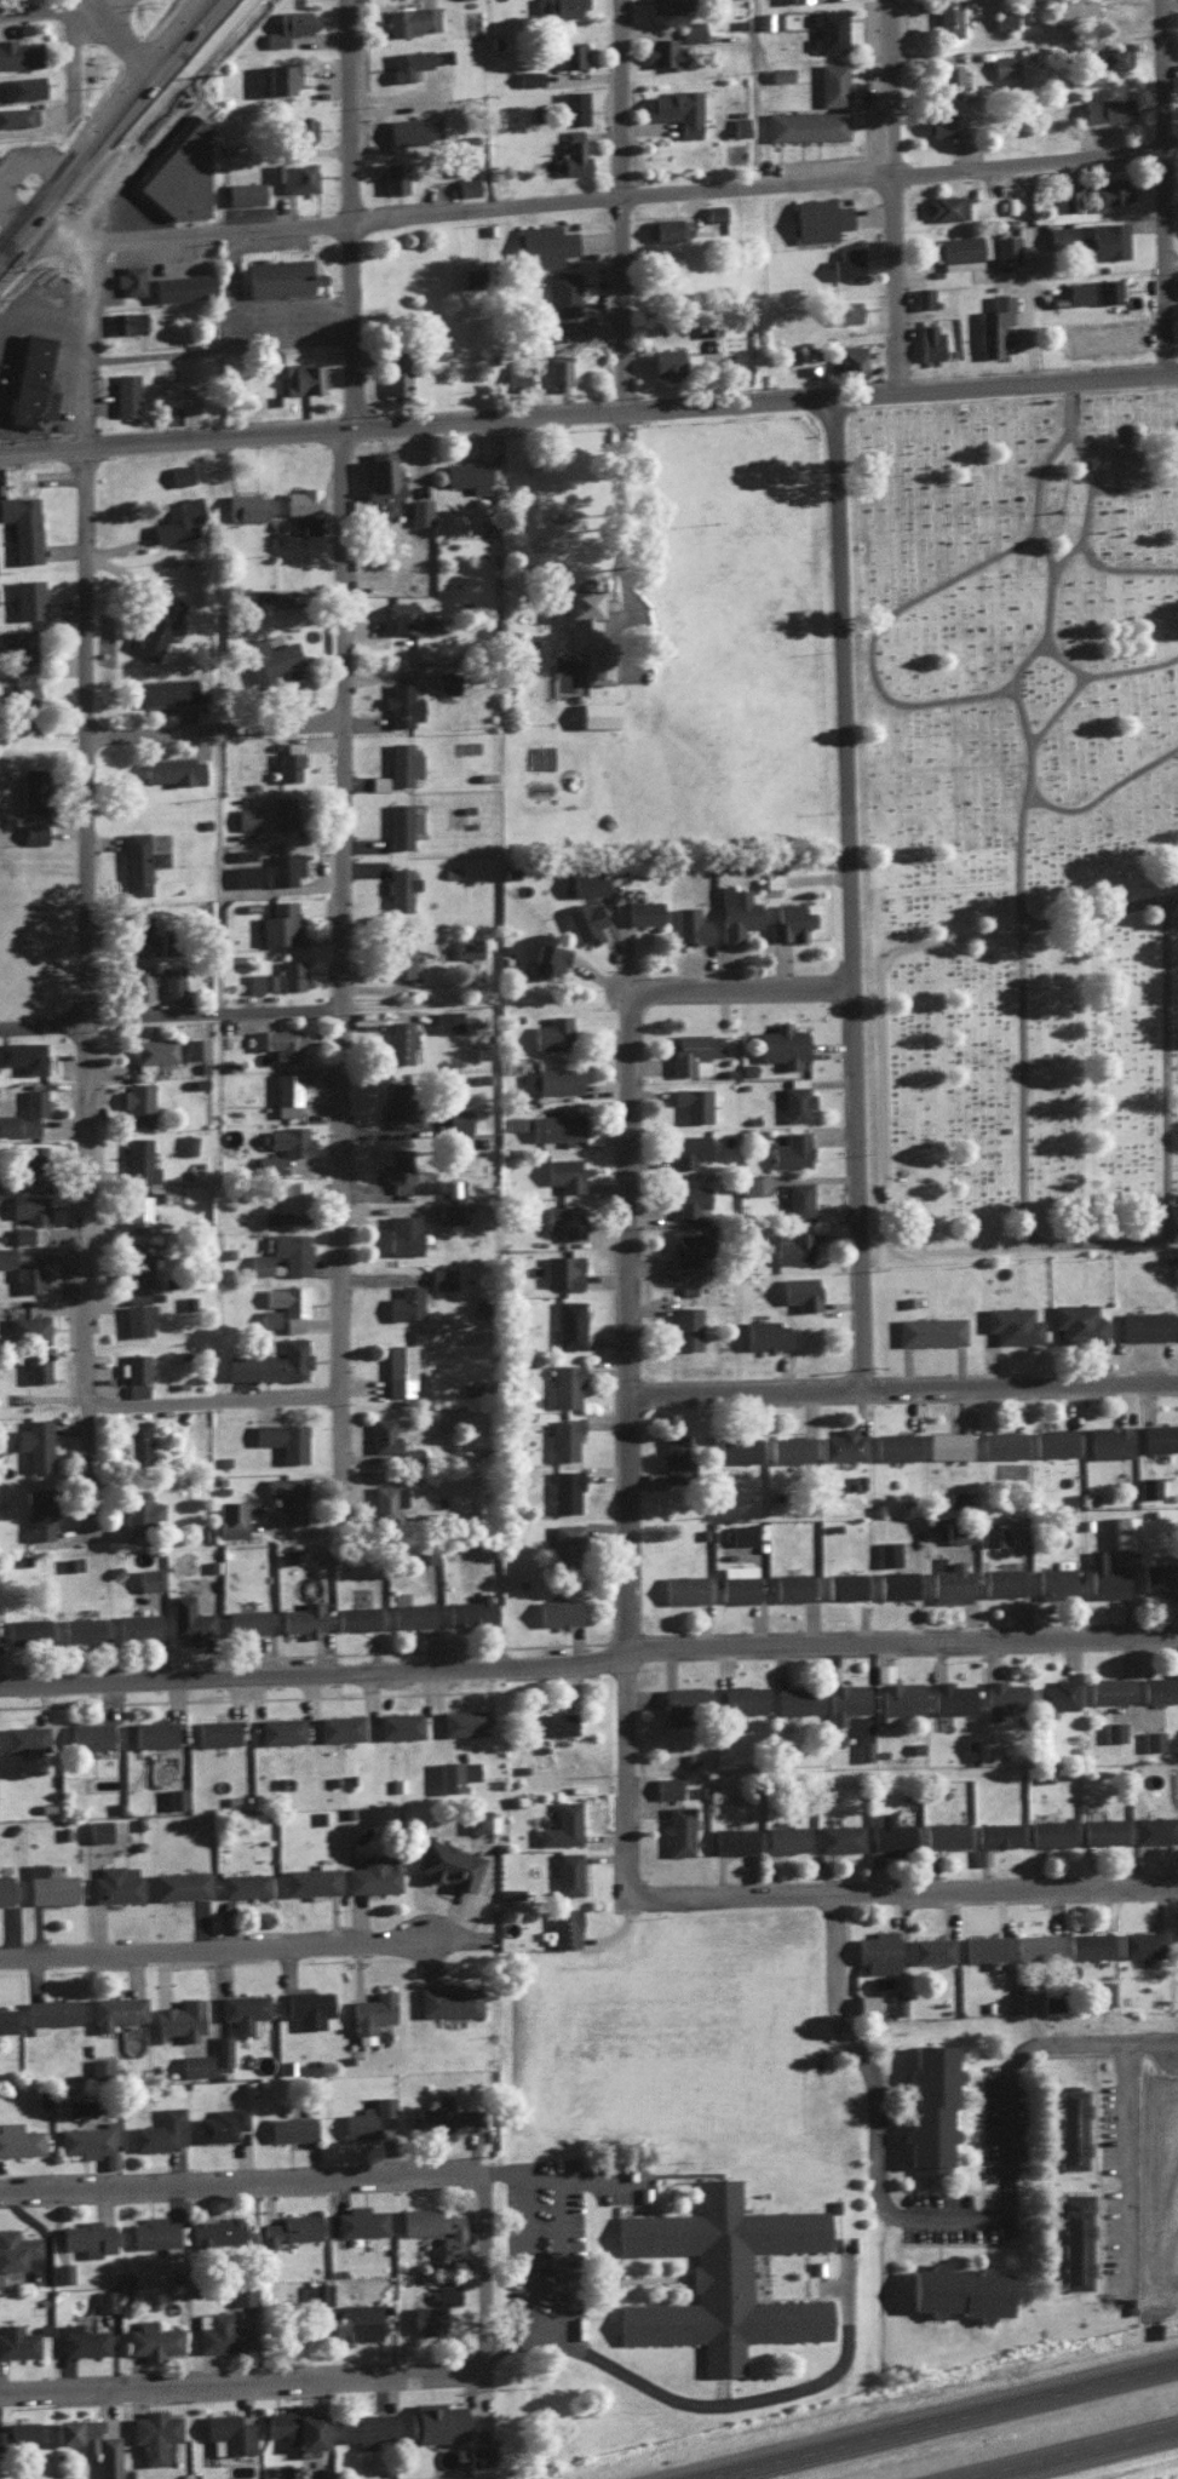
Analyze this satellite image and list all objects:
road: (75, 5)
building: (661, 5)
building: (557, 7)
building: (1071, 8)
road: (38, 11)
road: (107, 11)
building: (1002, 15)
building: (947, 17)
building: (410, 18)
building: (287, 22)
building: (828, 29)
road: (188, 35)
road: (116, 40)
building: (1086, 41)
building: (672, 45)
building: (18, 52)
building: (564, 54)
building: (1111, 56)
road: (82, 63)
building: (1001, 63)
building: (401, 67)
building: (778, 71)
building: (527, 76)
building: (949, 79)
building: (285, 81)
building: (831, 82)
building: (23, 85)
road: (752, 90)
building: (564, 104)
building: (1105, 108)
building: (677, 111)
building: (17, 115)
building: (737, 124)
building: (805, 124)
building: (936, 124)
building: (299, 126)
building: (409, 128)
road: (45, 138)
road: (98, 143)
building: (565, 157)
building: (178, 171)
building: (407, 177)
building: (301, 182)
building: (466, 184)
road: (1160, 189)
building: (242, 191)
building: (1092, 191)
road: (602, 193)
road: (890, 195)
road: (619, 205)
building: (943, 206)
building: (713, 211)
building: (822, 216)
building: (665, 226)
road: (19, 236)
building: (1091, 239)
building: (540, 243)
building: (961, 246)
building: (1005, 247)
building: (844, 260)
road: (1168, 262)
road: (908, 270)
building: (277, 272)
building: (469, 275)
building: (1177, 275)
building: (128, 277)
road: (1039, 279)
road: (1017, 281)
building: (178, 283)
building: (562, 292)
building: (1094, 292)
building: (921, 295)
building: (844, 310)
building: (126, 321)
building: (992, 323)
building: (706, 327)
building: (929, 342)
road: (224, 350)
building: (850, 357)
building: (663, 360)
building: (558, 371)
building: (392, 372)
building: (515, 374)
building: (301, 378)
building: (29, 380)
building: (125, 392)
road: (588, 413)
road: (1093, 465)
building: (461, 469)
building: (179, 472)
building: (381, 475)
road: (1142, 497)
building: (247, 505)
building: (303, 505)
building: (419, 510)
building: (176, 518)
building: (21, 526)
road: (1080, 560)
road: (1104, 563)
building: (253, 593)
building: (27, 597)
building: (412, 618)
building: (156, 624)
building: (585, 633)
road: (887, 641)
building: (19, 648)
building: (266, 656)
road: (1136, 675)
building: (446, 681)
building: (165, 690)
building: (23, 692)
road: (855, 696)
road: (1086, 698)
building: (401, 702)
building: (598, 713)
road: (214, 731)
road: (341, 748)
building: (288, 761)
building: (401, 763)
building: (168, 768)
building: (378, 781)
building: (28, 788)
road: (1040, 802)
road: (1111, 804)
building: (280, 810)
building: (245, 816)
building: (401, 824)
building: (31, 831)
park: (1027, 831)
building: (241, 853)
building: (156, 857)
building: (134, 861)
building: (268, 870)
road: (217, 872)
building: (772, 878)
building: (584, 882)
building: (398, 886)
road: (84, 893)
building: (642, 909)
building: (735, 909)
building: (584, 919)
building: (789, 919)
building: (277, 920)
building: (688, 923)
building: (133, 924)
building: (461, 945)
building: (398, 956)
building: (547, 957)
building: (291, 972)
building: (136, 979)
building: (259, 980)
building: (171, 983)
road: (211, 1012)
road: (41, 1022)
building: (551, 1032)
building: (403, 1034)
building: (276, 1039)
building: (782, 1041)
building: (195, 1045)
building: (153, 1048)
building: (696, 1049)
building: (23, 1054)
building: (554, 1078)
building: (287, 1090)
building: (794, 1100)
building: (138, 1101)
building: (693, 1101)
road: (896, 1101)
building: (402, 1103)
building: (30, 1108)
building: (454, 1118)
building: (7, 1123)
building: (554, 1126)
building: (287, 1138)
building: (188, 1142)
building: (788, 1146)
building: (689, 1148)
building: (142, 1157)
building: (270, 1161)
building: (401, 1161)
building: (562, 1172)
building: (747, 1183)
road: (867, 1192)
building: (684, 1197)
building: (799, 1197)
building: (285, 1199)
building: (27, 1204)
building: (447, 1210)
building: (138, 1213)
building: (562, 1218)
building: (404, 1229)
building: (686, 1244)
building: (795, 1246)
building: (286, 1251)
building: (5, 1255)
building: (139, 1261)
building: (258, 1262)
building: (564, 1268)
building: (441, 1275)
building: (29, 1276)
building: (803, 1290)
building: (287, 1296)
building: (401, 1299)
building: (136, 1310)
building: (268, 1315)
building: (1076, 1319)
building: (568, 1320)
building: (291, 1321)
building: (1011, 1322)
building: (1144, 1322)
building: (27, 1327)
building: (686, 1327)
building: (929, 1329)
building: (759, 1335)
road: (640, 1341)
building: (269, 1359)
building: (36, 1365)
building: (136, 1368)
building: (401, 1370)
building: (562, 1382)
road: (1024, 1390)
road: (755, 1398)
road: (219, 1404)
building: (391, 1434)
building: (1159, 1435)
building: (137, 1436)
building: (567, 1436)
building: (281, 1438)
building: (1105, 1439)
building: (1052, 1440)
building: (34, 1441)
building: (841, 1442)
building: (947, 1442)
building: (1000, 1442)
building: (895, 1444)
building: (736, 1447)
building: (788, 1447)
building: (672, 1456)
building: (567, 1484)
building: (1148, 1485)
building: (287, 1494)
building: (395, 1500)
building: (140, 1508)
building: (38, 1513)
building: (229, 1516)
building: (1121, 1530)
building: (956, 1531)
building: (992, 1531)
building: (564, 1537)
building: (886, 1551)
building: (423, 1553)
building: (1103, 1574)
building: (1159, 1576)
building: (145, 1577)
building: (1001, 1579)
building: (1053, 1580)
building: (949, 1582)
building: (844, 1583)
building: (897, 1583)
building: (791, 1584)
building: (736, 1585)
building: (682, 1586)
building: (470, 1608)
building: (410, 1611)
building: (558, 1611)
building: (352, 1616)
building: (294, 1617)
building: (243, 1620)
building: (184, 1622)
building: (134, 1623)
building: (80, 1626)
building: (25, 1629)
road: (590, 1670)
building: (1159, 1687)
building: (1108, 1688)
building: (1056, 1692)
building: (950, 1695)
building: (1001, 1695)
building: (742, 1697)
building: (898, 1697)
building: (793, 1698)
building: (680, 1699)
building: (844, 1699)
building: (461, 1720)
building: (548, 1722)
building: (397, 1723)
building: (339, 1726)
building: (280, 1728)
building: (214, 1729)
building: (1114, 1729)
building: (151, 1731)
building: (87, 1733)
building: (24, 1735)
building: (1151, 1738)
building: (863, 1749)
building: (454, 1772)
building: (666, 1785)
building: (172, 1796)
building: (475, 1819)
building: (561, 1823)
building: (103, 1827)
building: (1154, 1827)
building: (678, 1829)
building: (1102, 1829)
building: (1050, 1830)
building: (887, 1831)
building: (943, 1832)
building: (996, 1832)
building: (838, 1835)
building: (785, 1836)
building: (732, 1837)
building: (979, 1854)
building: (446, 1863)
building: (567, 1871)
building: (373, 1872)
building: (310, 1878)
building: (115, 1882)
building: (243, 1882)
building: (178, 1883)
building: (47, 1884)
building: (4, 1887)
road: (910, 1896)
building: (563, 1926)
building: (1174, 1940)
building: (1140, 1941)
building: (1088, 1943)
building: (1035, 1944)
building: (982, 1946)
building: (930, 1947)
building: (877, 1950)
road: (220, 1955)
building: (1099, 1991)
building: (1050, 1998)
building: (447, 1999)
building: (864, 2002)
building: (897, 2003)
building: (306, 2005)
building: (114, 2009)
building: (243, 2009)
building: (48, 2010)
building: (369, 2013)
building: (179, 2016)
building: (5, 2019)
building: (222, 2048)
building: (98, 2062)
building: (192, 2062)
building: (927, 2106)
building: (366, 2116)
building: (441, 2118)
building: (219, 2122)
building: (289, 2127)
building: (1067, 2127)
building: (160, 2129)
building: (18, 2137)
building: (90, 2140)
road: (1137, 2173)
road: (240, 2184)
building: (358, 2220)
building: (416, 2220)
road: (558, 2221)
building: (289, 2227)
road: (946, 2228)
building: (153, 2231)
building: (213, 2231)
building: (449, 2234)
building: (86, 2236)
building: (1071, 2238)
building: (16, 2246)
road: (482, 2259)
building: (62, 2271)
building: (719, 2276)
building: (955, 2290)
building: (241, 2292)
building: (318, 2292)
building: (105, 2299)
building: (431, 2309)
building: (352, 2320)
building: (218, 2331)
building: (151, 2339)
building: (81, 2340)
building: (17, 2341)
road: (249, 2381)
road: (1070, 2386)
road: (712, 2404)
building: (435, 2421)
building: (293, 2426)
building: (361, 2427)
building: (17, 2432)
building: (153, 2432)
building: (226, 2432)
building: (88, 2441)
road: (823, 2445)
road: (1062, 2450)
building: (477, 2452)

